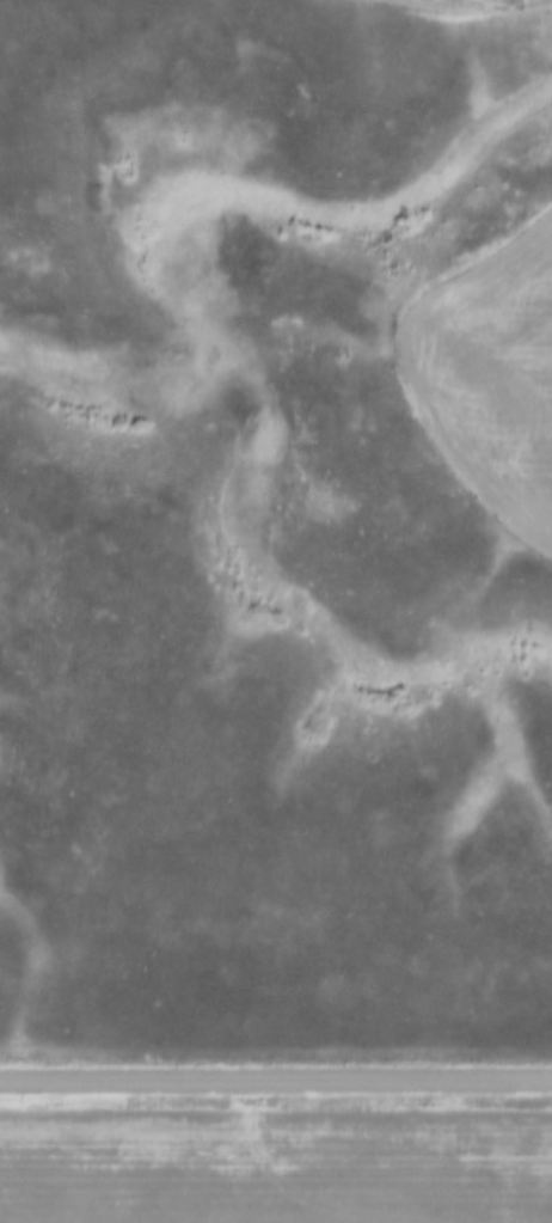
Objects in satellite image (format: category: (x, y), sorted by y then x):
road: (276, 1084)

